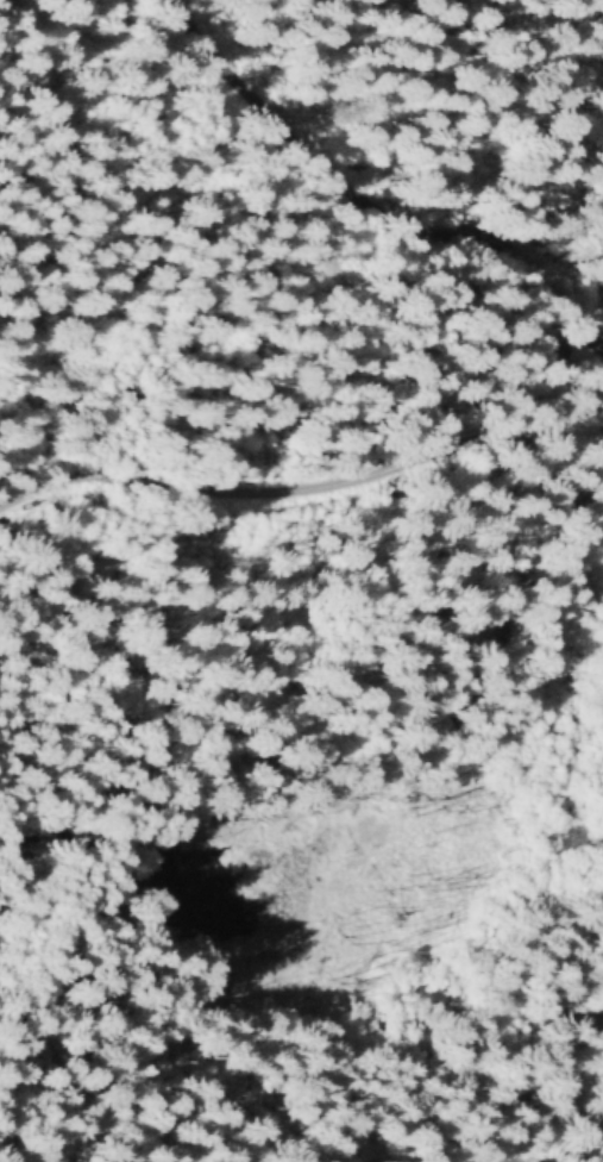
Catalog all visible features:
road: (365, 205)
road: (558, 1149)

